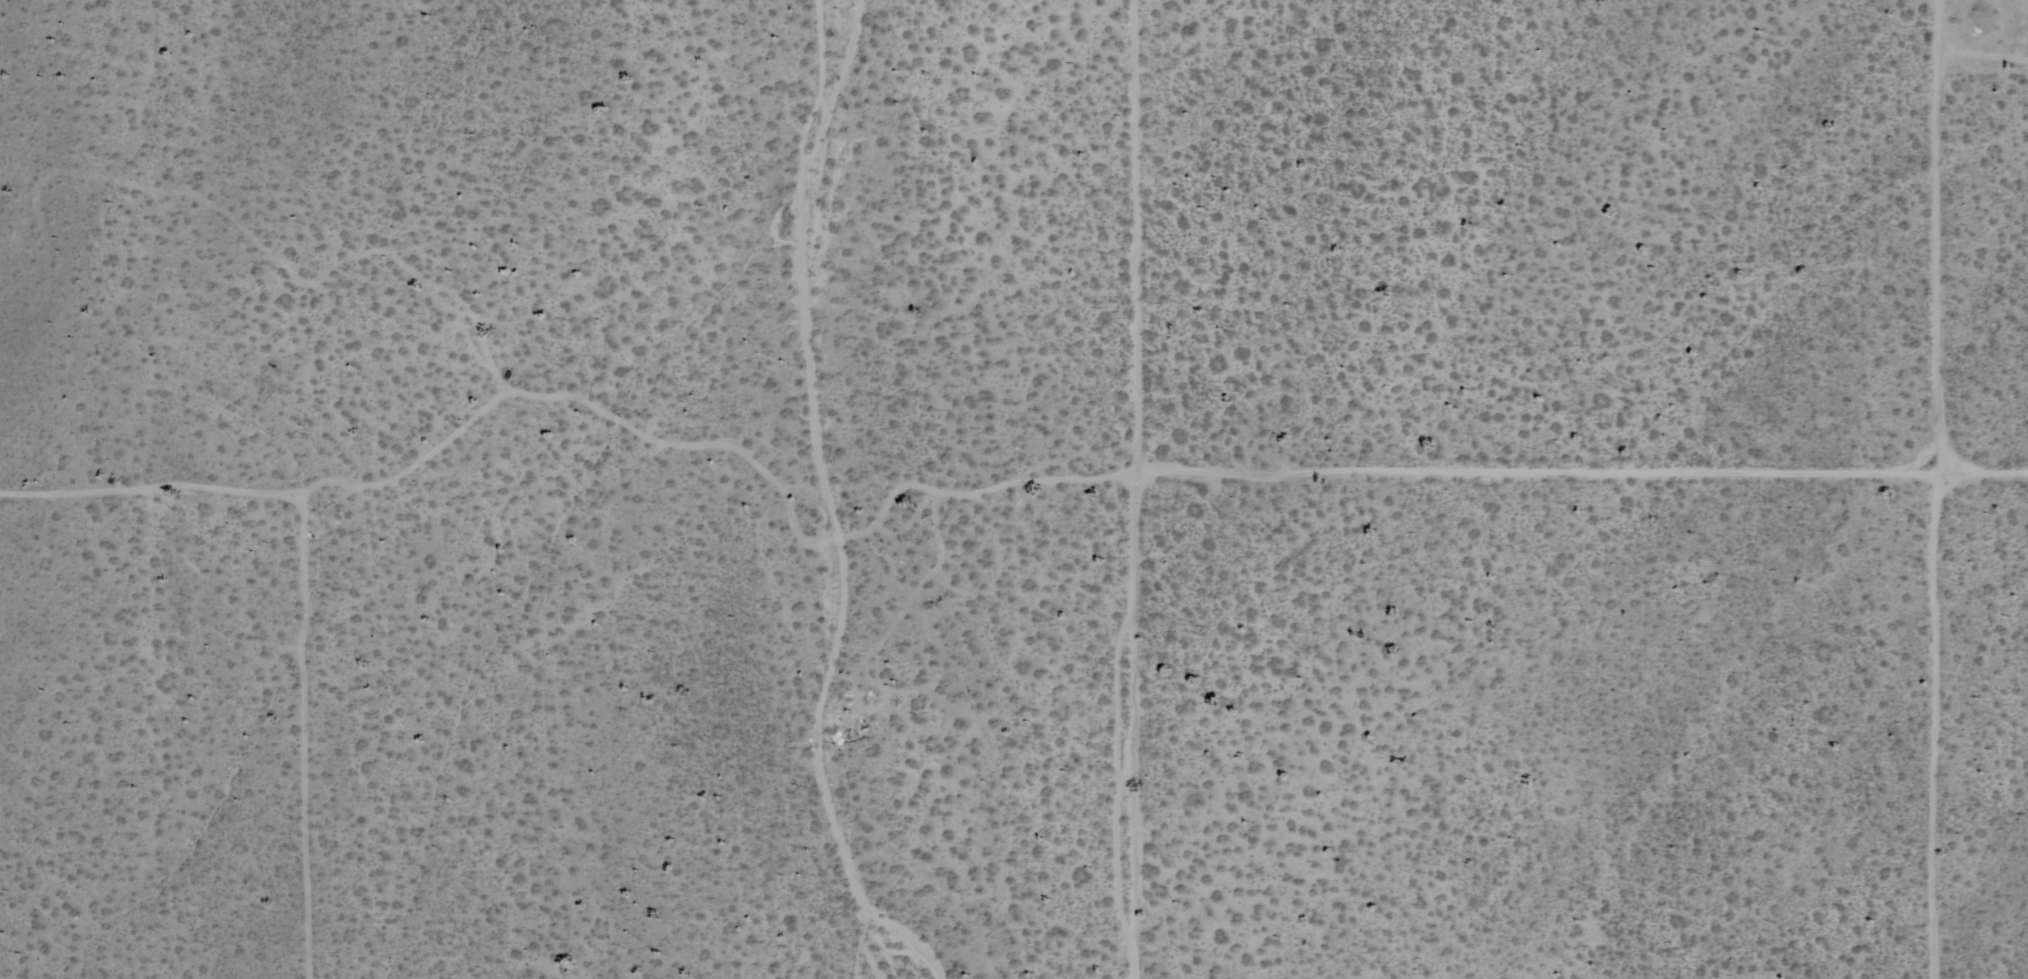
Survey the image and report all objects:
road: (1982, 60)
road: (1581, 470)
road: (1135, 489)
road: (1939, 489)

